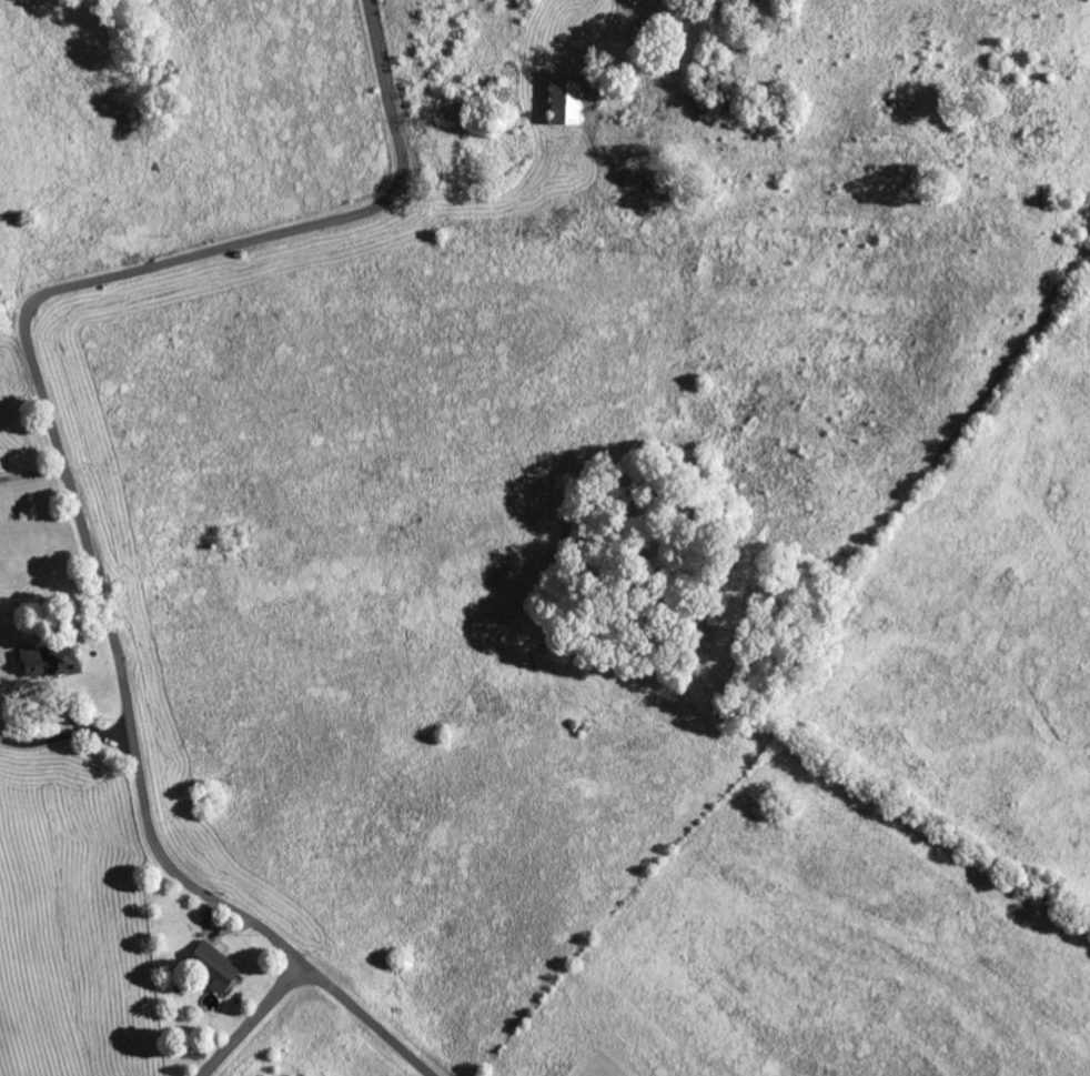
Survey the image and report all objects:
building: (563, 101)
road: (39, 389)
building: (47, 662)
building: (213, 964)
road: (255, 1020)
road: (371, 1022)

